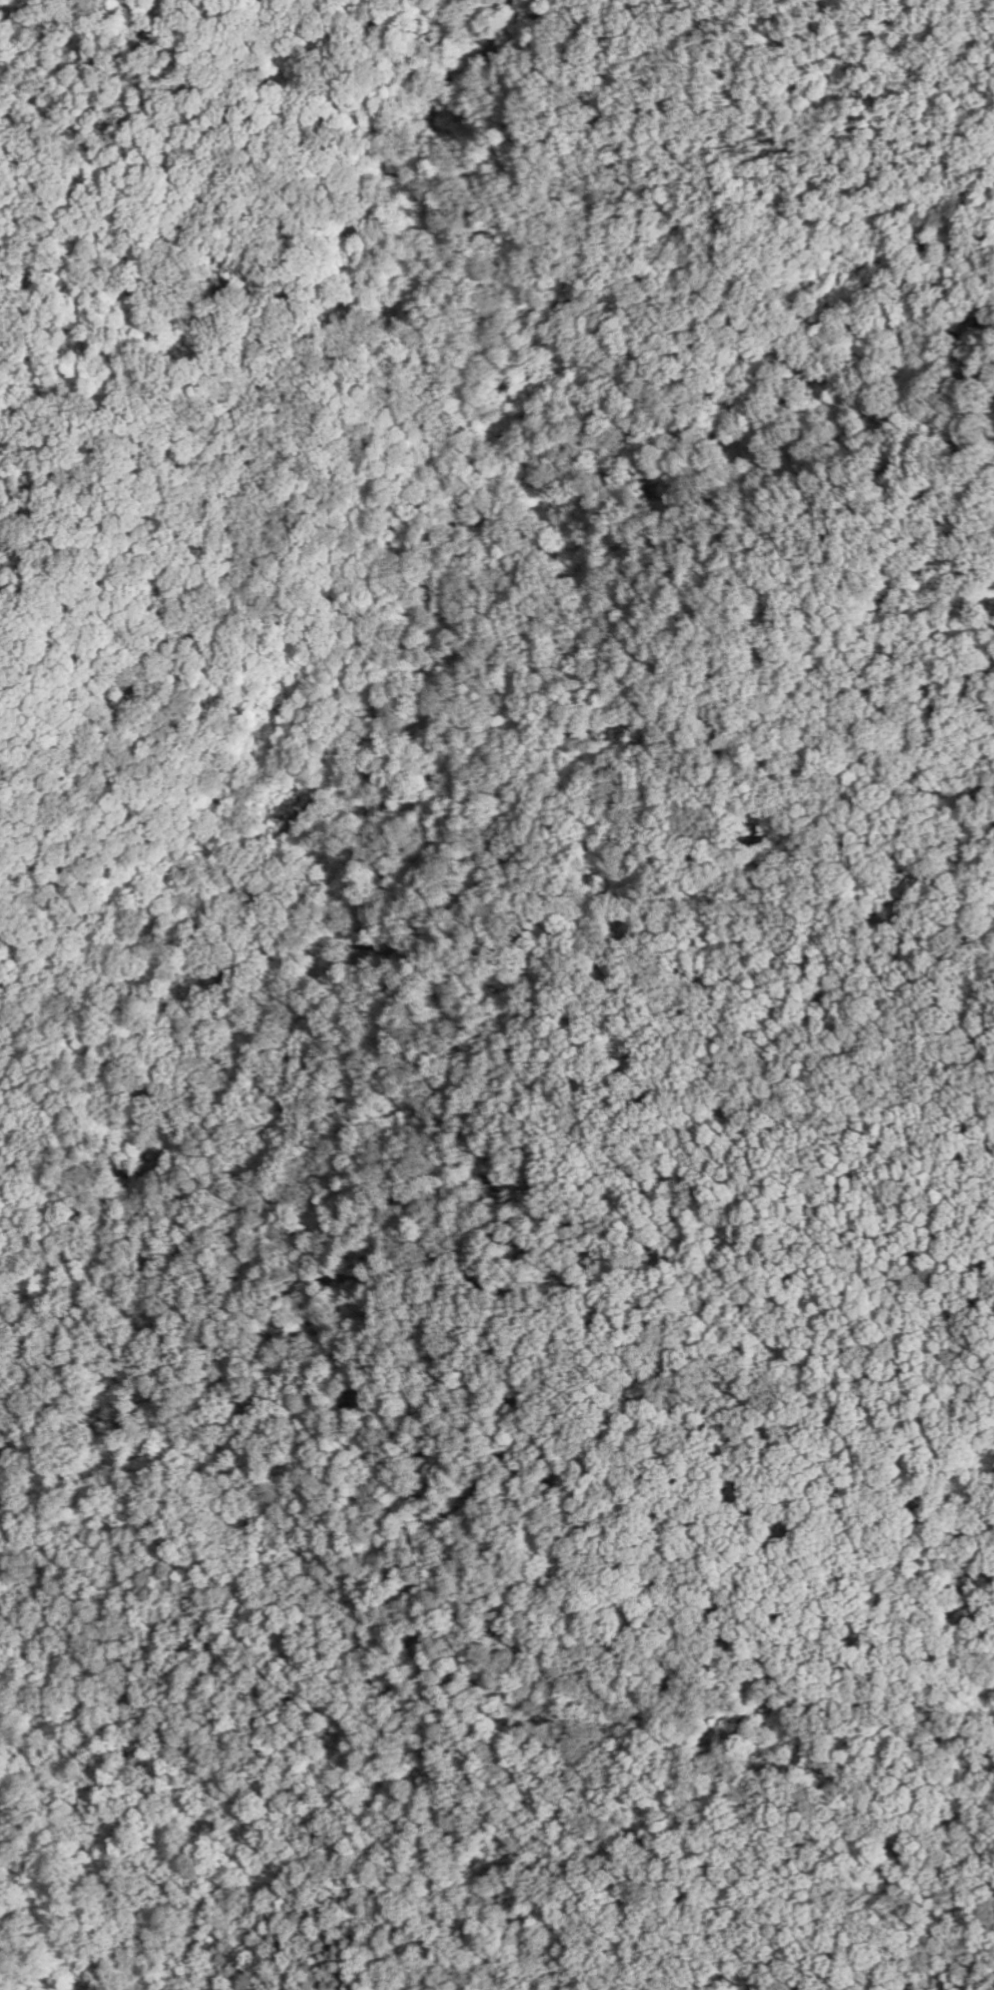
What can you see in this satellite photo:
road: (382, 886)

